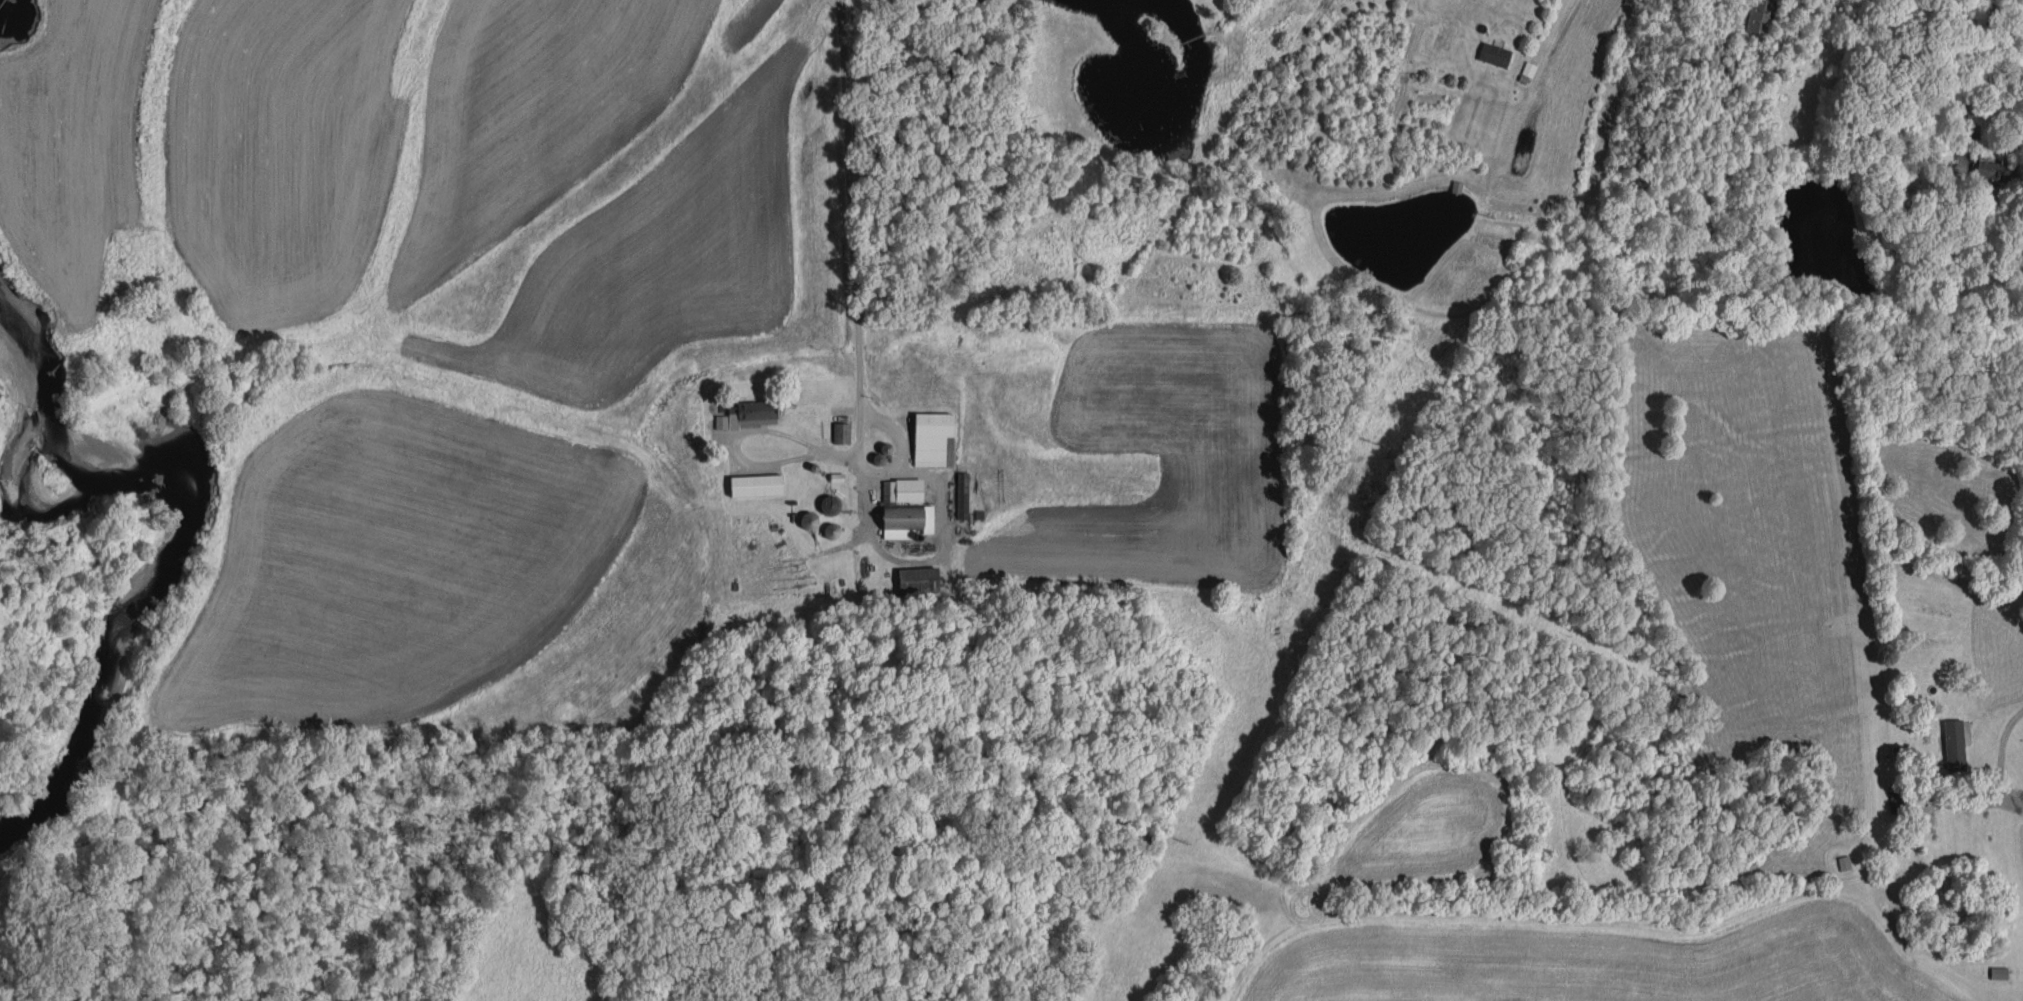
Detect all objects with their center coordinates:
river: (0, 0)
building: (1759, 16)
road: (1550, 24)
building: (1494, 54)
road: (1978, 69)
building: (1995, 170)
road: (849, 241)
building: (746, 415)
road: (746, 432)
building: (841, 433)
building: (933, 439)
building: (755, 485)
building: (902, 490)
building: (962, 495)
building: (828, 505)
river: (181, 513)
building: (905, 520)
building: (917, 579)
building: (1955, 744)
road: (2004, 783)

